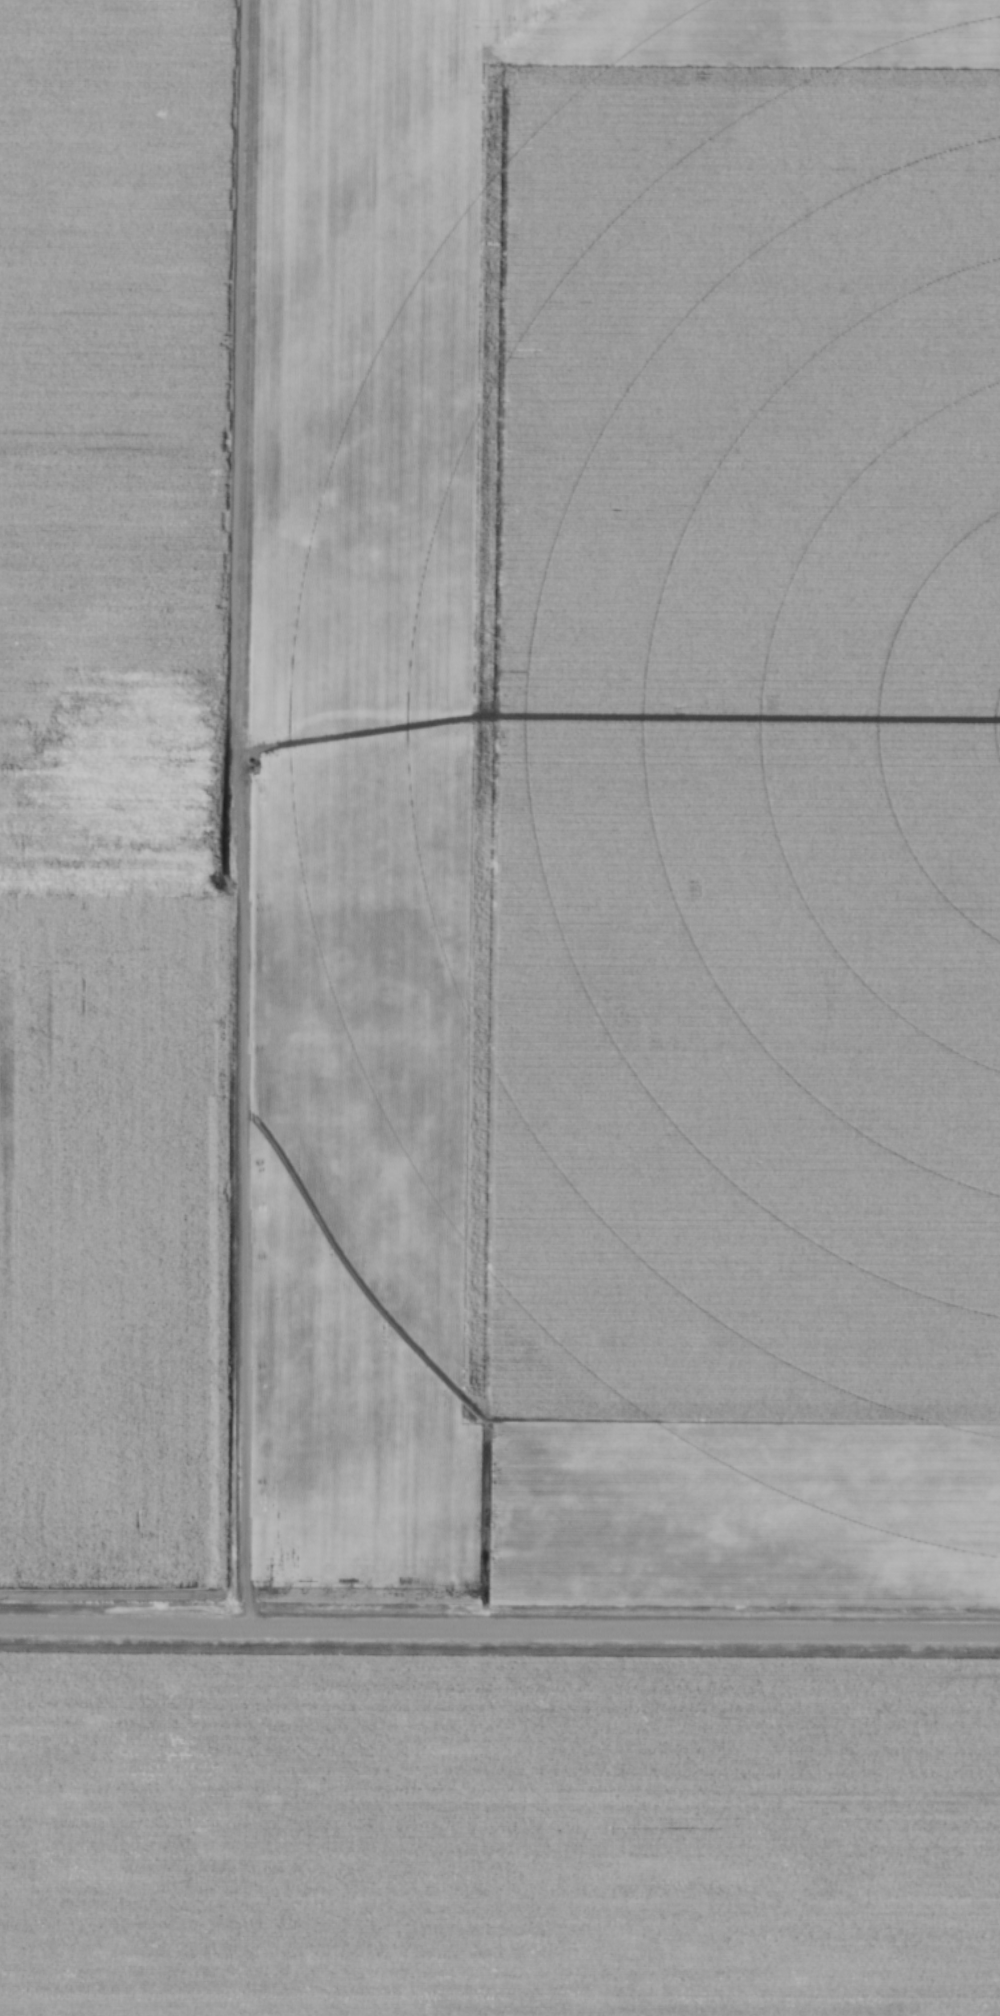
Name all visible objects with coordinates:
road: (499, 1634)

